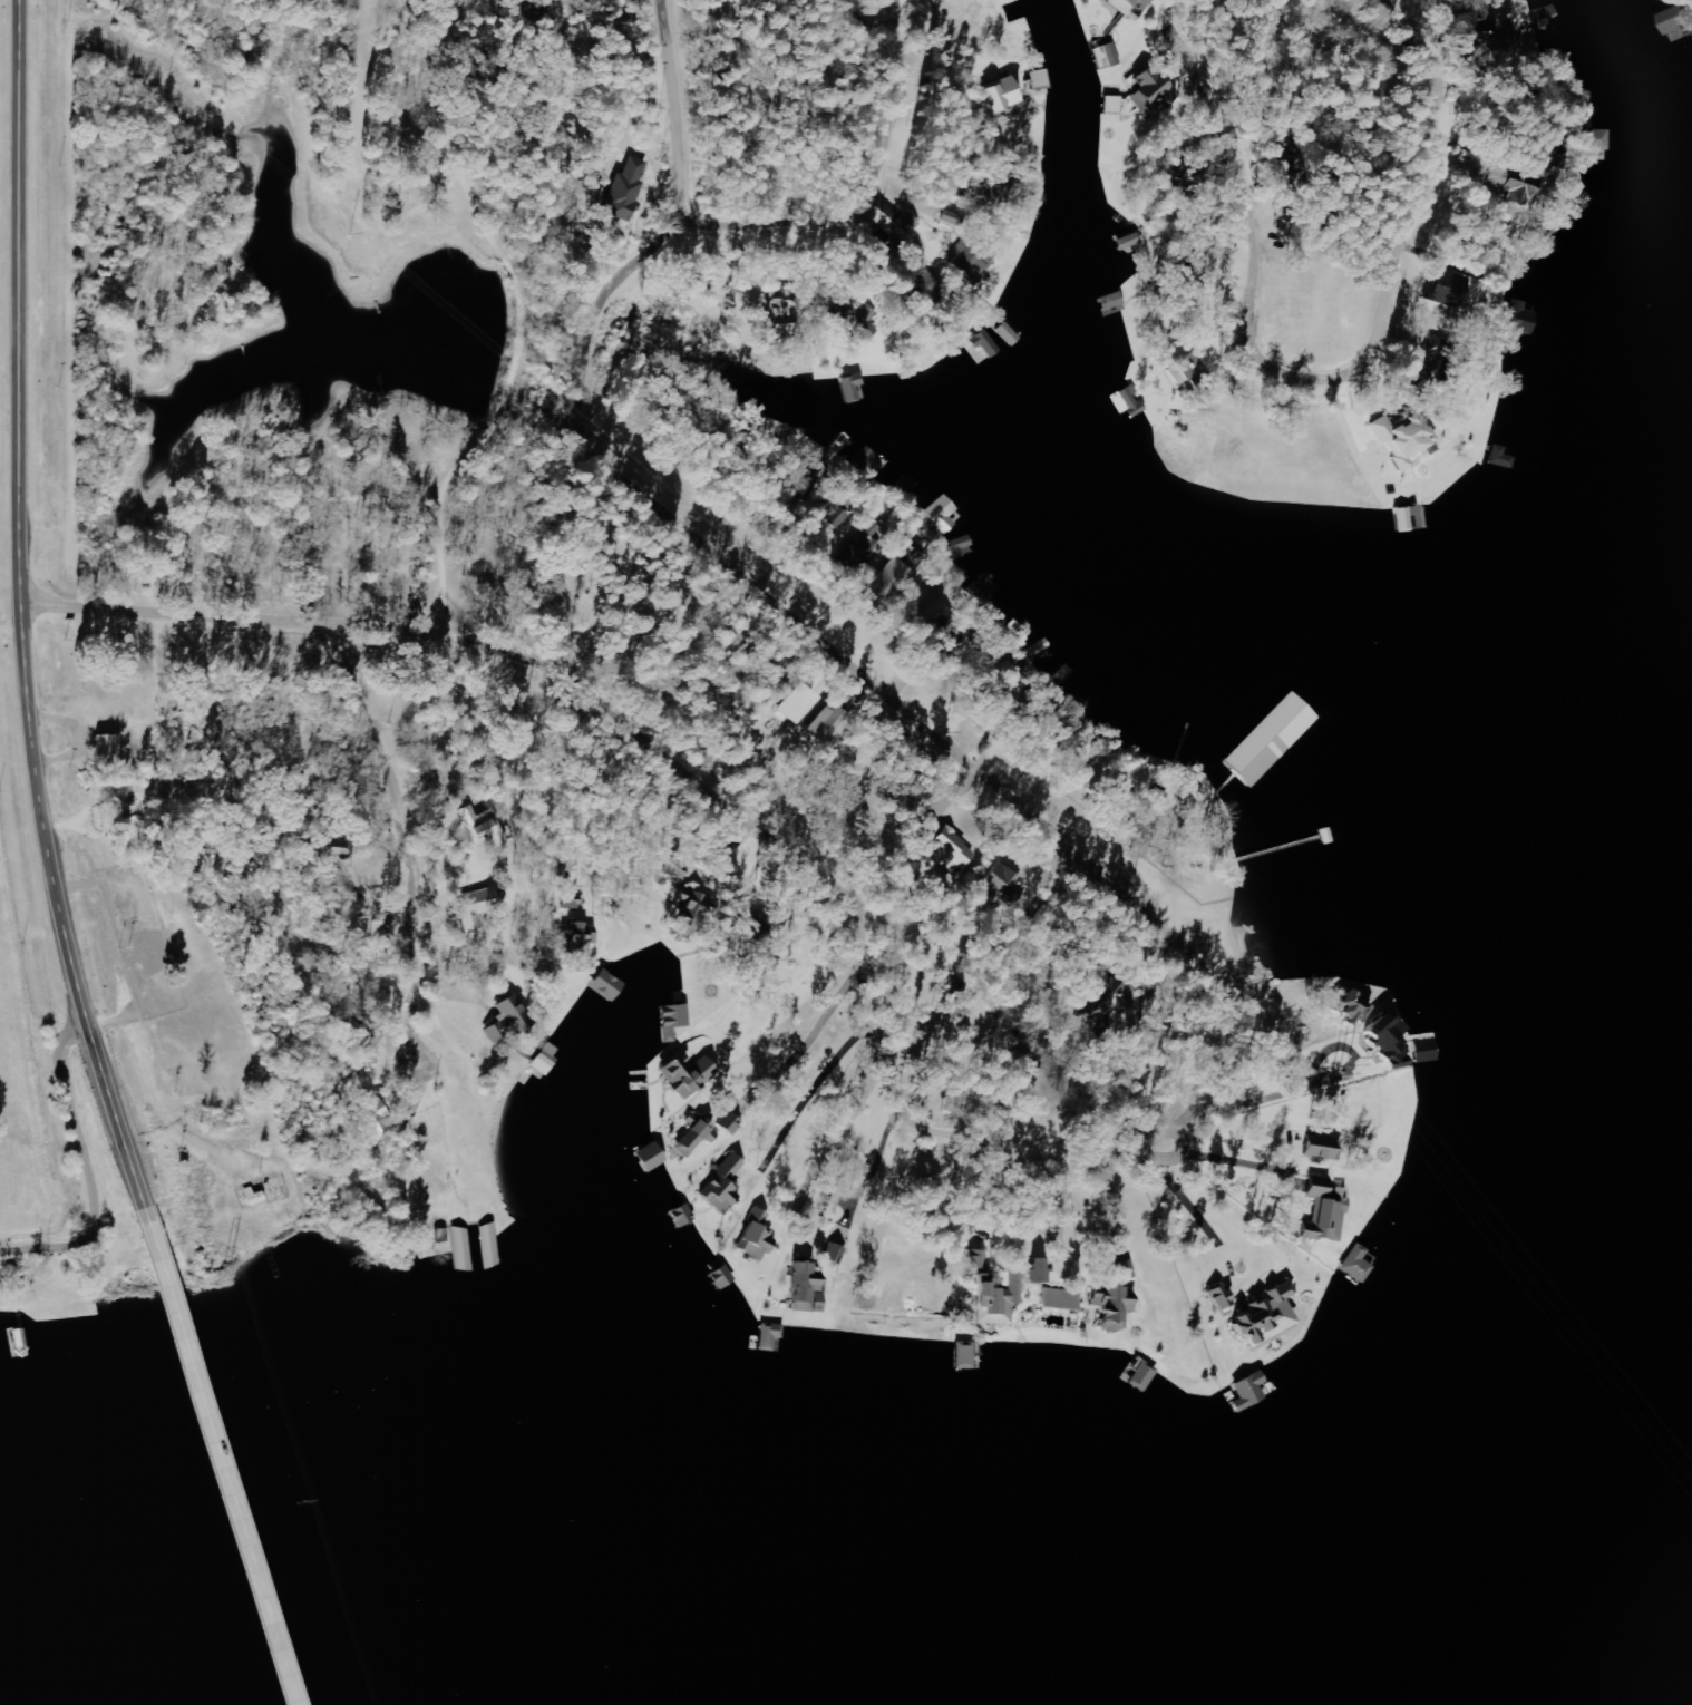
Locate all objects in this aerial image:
building: (1136, 3)
building: (1676, 21)
building: (1111, 56)
building: (1148, 89)
building: (998, 95)
building: (1111, 105)
building: (1593, 144)
building: (1534, 149)
road: (866, 173)
building: (1514, 186)
building: (622, 193)
building: (905, 225)
building: (975, 262)
building: (1441, 289)
road: (1306, 315)
building: (771, 318)
building: (1518, 318)
building: (1185, 369)
building: (853, 389)
building: (1398, 439)
building: (809, 477)
building: (941, 515)
building: (959, 545)
building: (860, 548)
road: (753, 595)
road: (19, 621)
building: (786, 705)
building: (820, 728)
building: (105, 753)
road: (725, 790)
building: (117, 819)
building: (486, 829)
building: (949, 848)
building: (999, 884)
building: (475, 908)
building: (694, 908)
building: (351, 915)
building: (604, 984)
building: (504, 1021)
building: (683, 1074)
building: (371, 1118)
building: (727, 1123)
road: (55, 1126)
building: (1319, 1148)
building: (648, 1158)
building: (722, 1185)
building: (252, 1197)
building: (1323, 1211)
building: (756, 1236)
building: (461, 1248)
building: (976, 1259)
building: (1355, 1264)
road: (781, 1270)
building: (805, 1288)
building: (1060, 1299)
building: (993, 1300)
building: (1110, 1306)
building: (1262, 1316)
building: (769, 1335)
building: (964, 1356)
building: (1246, 1391)
road: (207, 1468)

